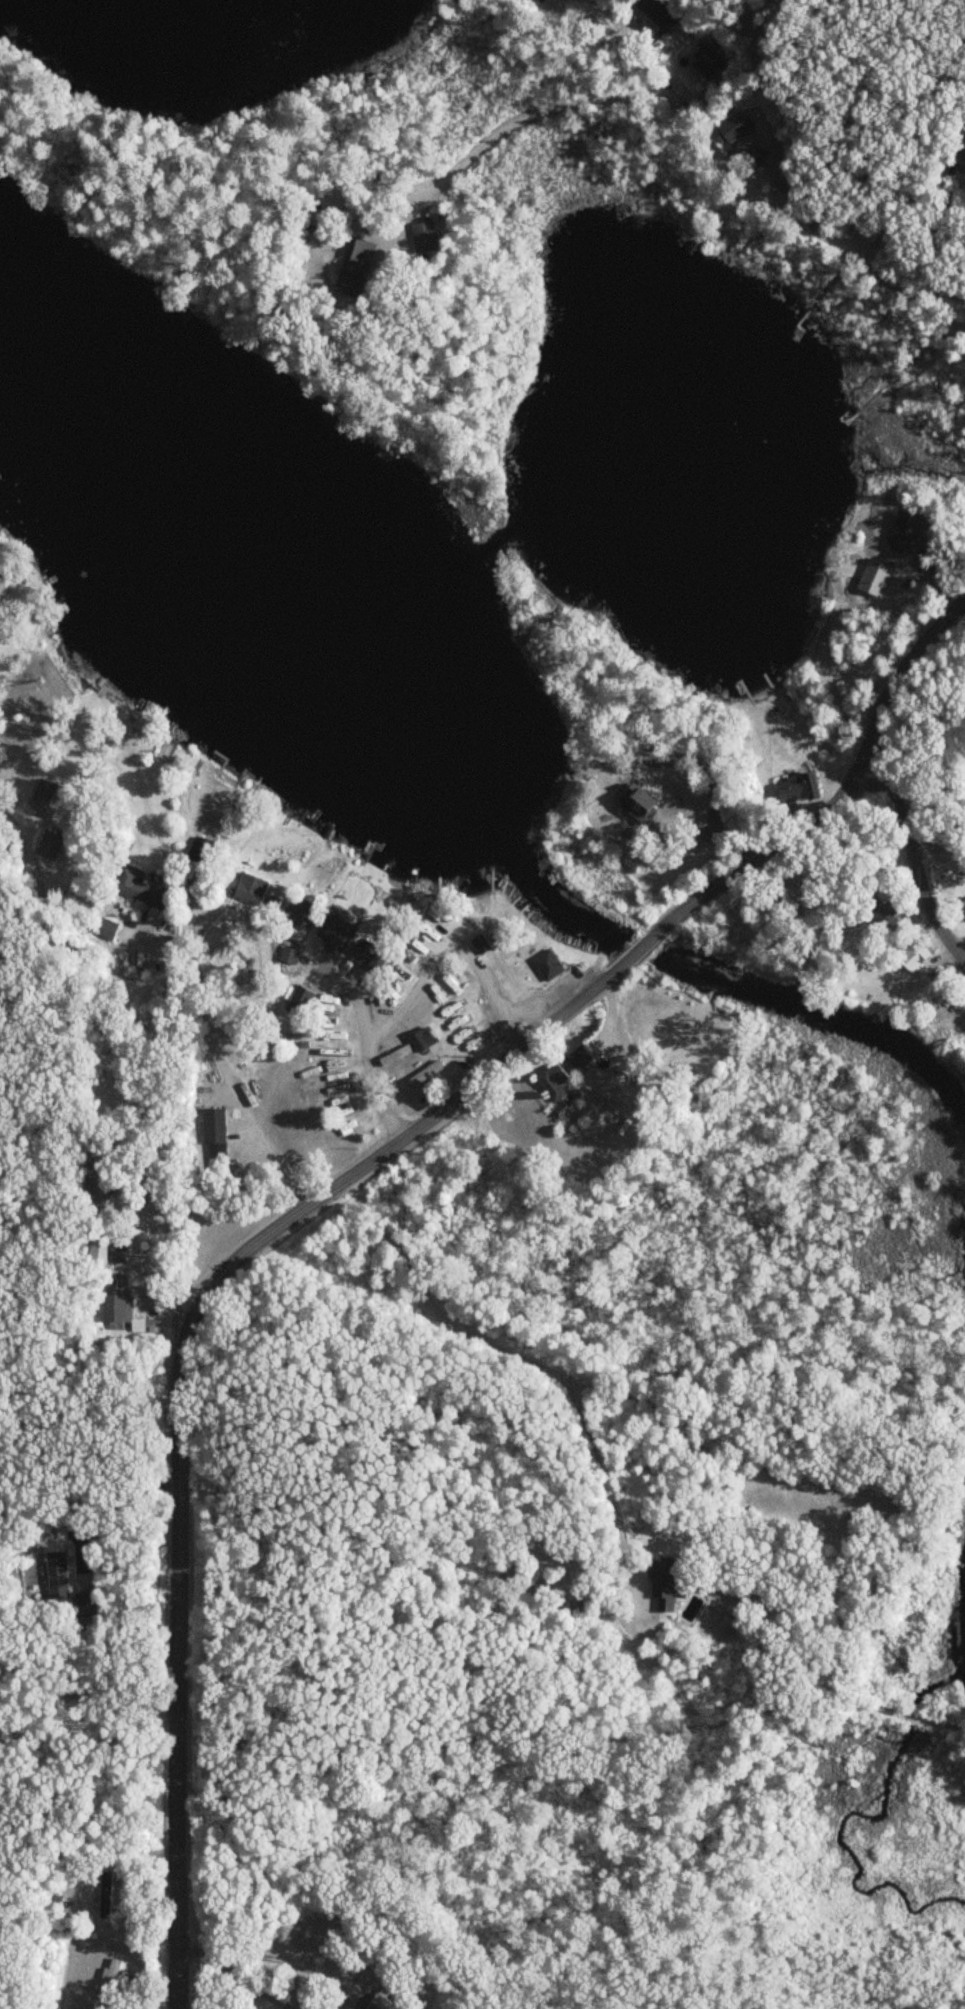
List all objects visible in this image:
building: (656, 14)
building: (704, 63)
road: (532, 112)
building: (726, 133)
building: (749, 155)
building: (961, 157)
road: (751, 184)
building: (427, 238)
building: (361, 269)
building: (904, 536)
building: (874, 579)
road: (871, 738)
building: (795, 787)
building: (47, 791)
building: (51, 846)
building: (205, 852)
road: (915, 860)
road: (779, 874)
building: (141, 886)
building: (253, 890)
building: (191, 892)
building: (778, 906)
building: (962, 908)
building: (874, 909)
building: (109, 930)
building: (336, 932)
building: (483, 942)
road: (634, 948)
building: (292, 956)
building: (909, 957)
building: (374, 958)
building: (551, 962)
road: (415, 989)
building: (303, 1000)
road: (360, 1000)
building: (342, 1036)
building: (429, 1039)
building: (398, 1055)
road: (216, 1059)
building: (580, 1059)
building: (429, 1074)
building: (343, 1079)
building: (560, 1081)
road: (138, 1087)
building: (109, 1091)
building: (354, 1122)
building: (217, 1139)
building: (102, 1178)
building: (101, 1249)
building: (122, 1306)
road: (514, 1353)
road: (178, 1451)
road: (115, 1506)
building: (60, 1575)
building: (667, 1583)
building: (89, 1605)
road: (95, 1715)
road: (7, 1731)
road: (7, 1737)
building: (108, 1895)
building: (112, 1981)

